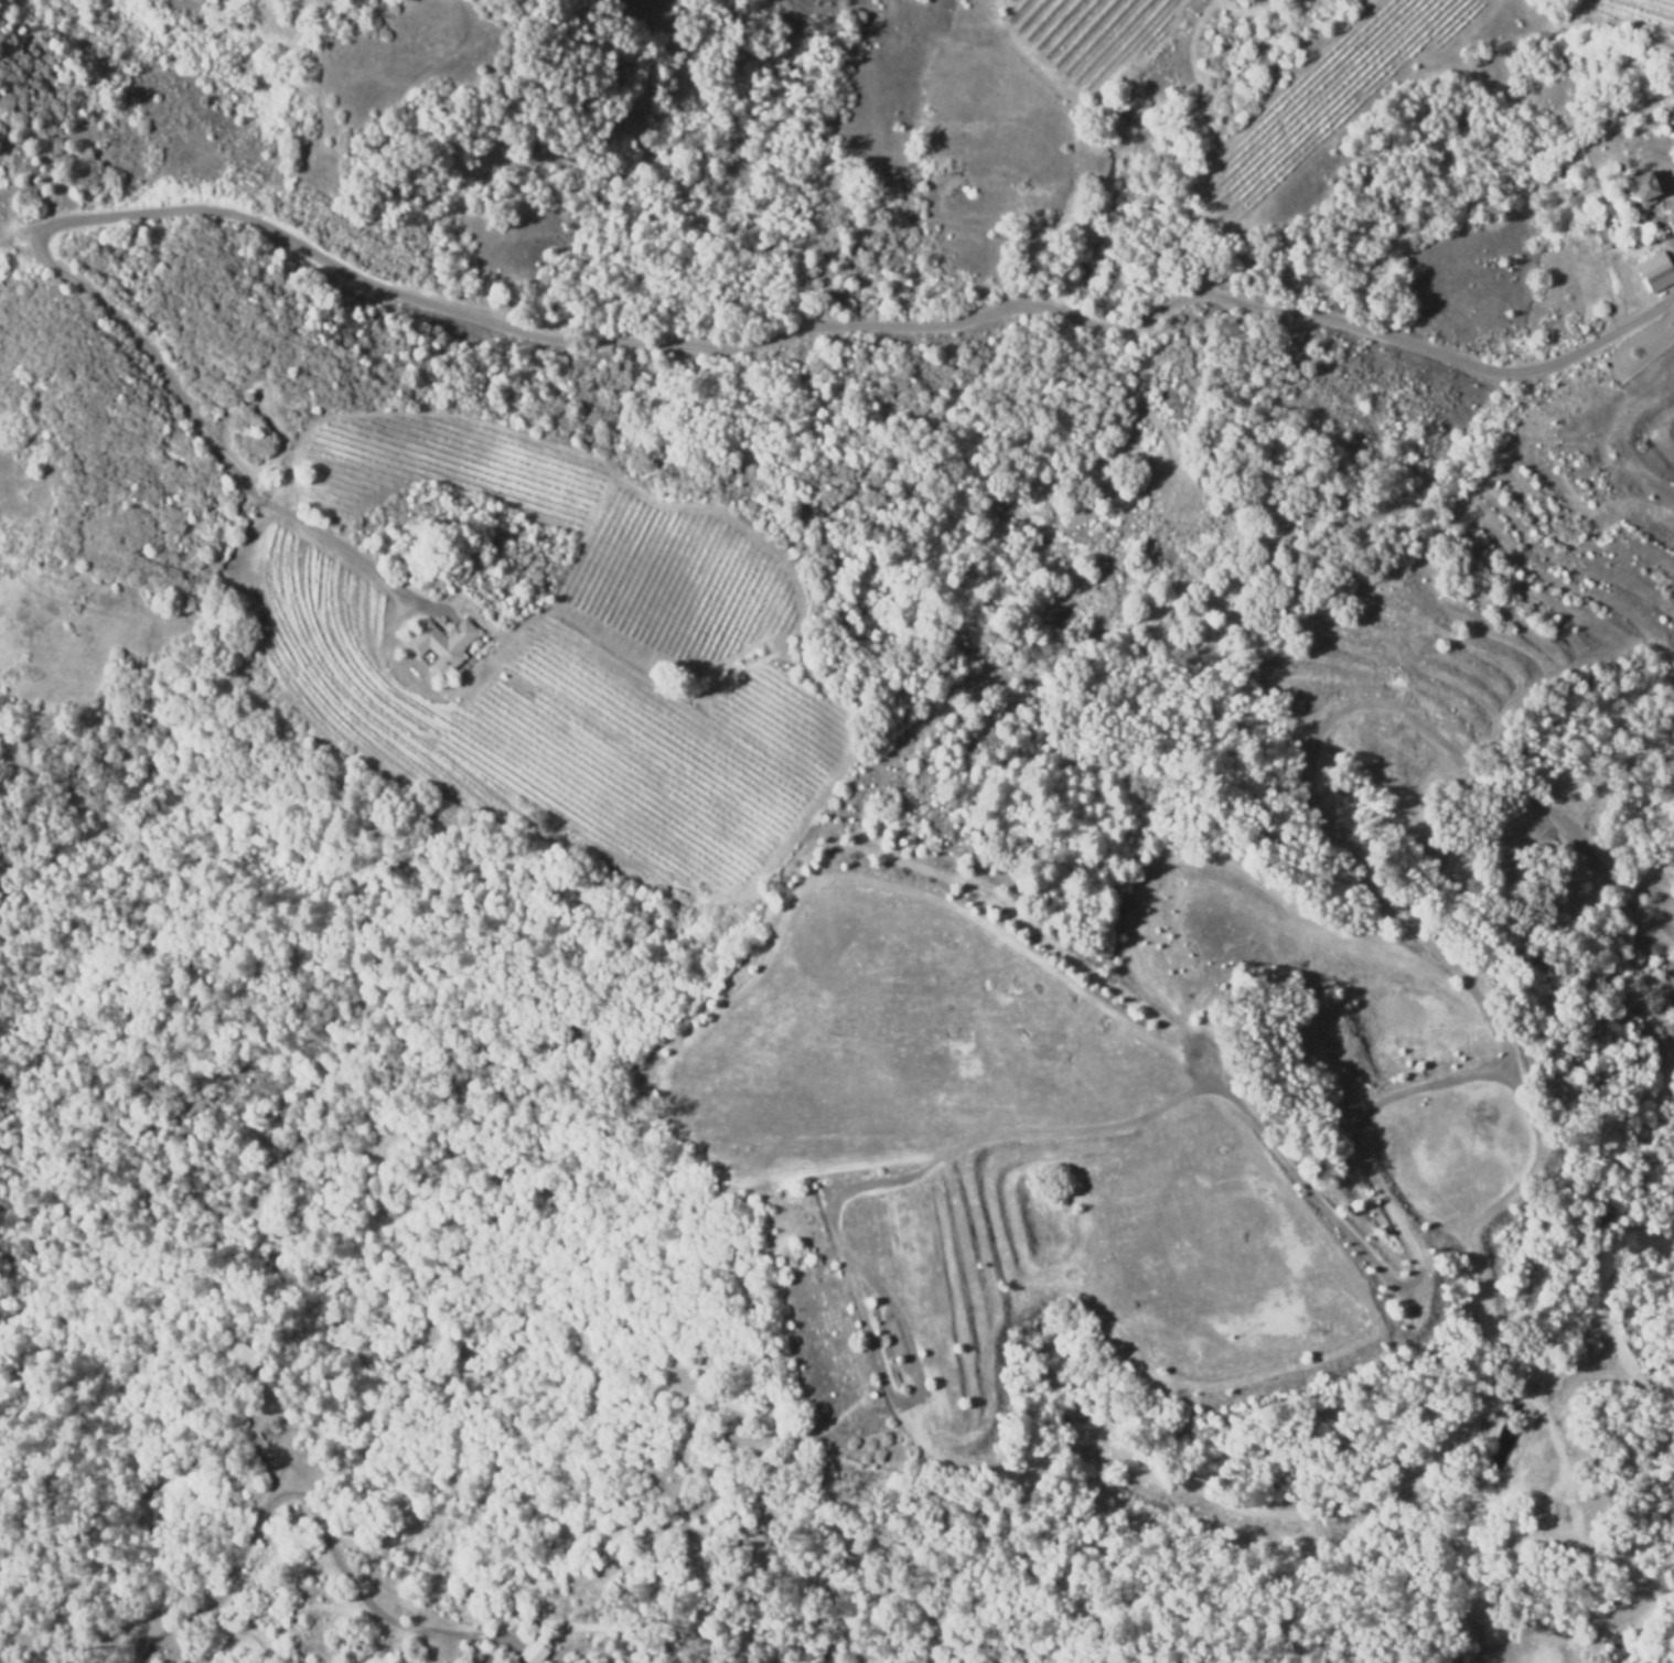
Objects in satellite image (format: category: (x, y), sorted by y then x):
building: (1671, 112)
building: (1644, 185)
building: (1654, 268)
road: (841, 326)
building: (246, 396)
building: (235, 408)
road: (211, 450)
building: (442, 645)
building: (897, 1358)
building: (869, 1394)
building: (533, 1652)
building: (491, 1660)

